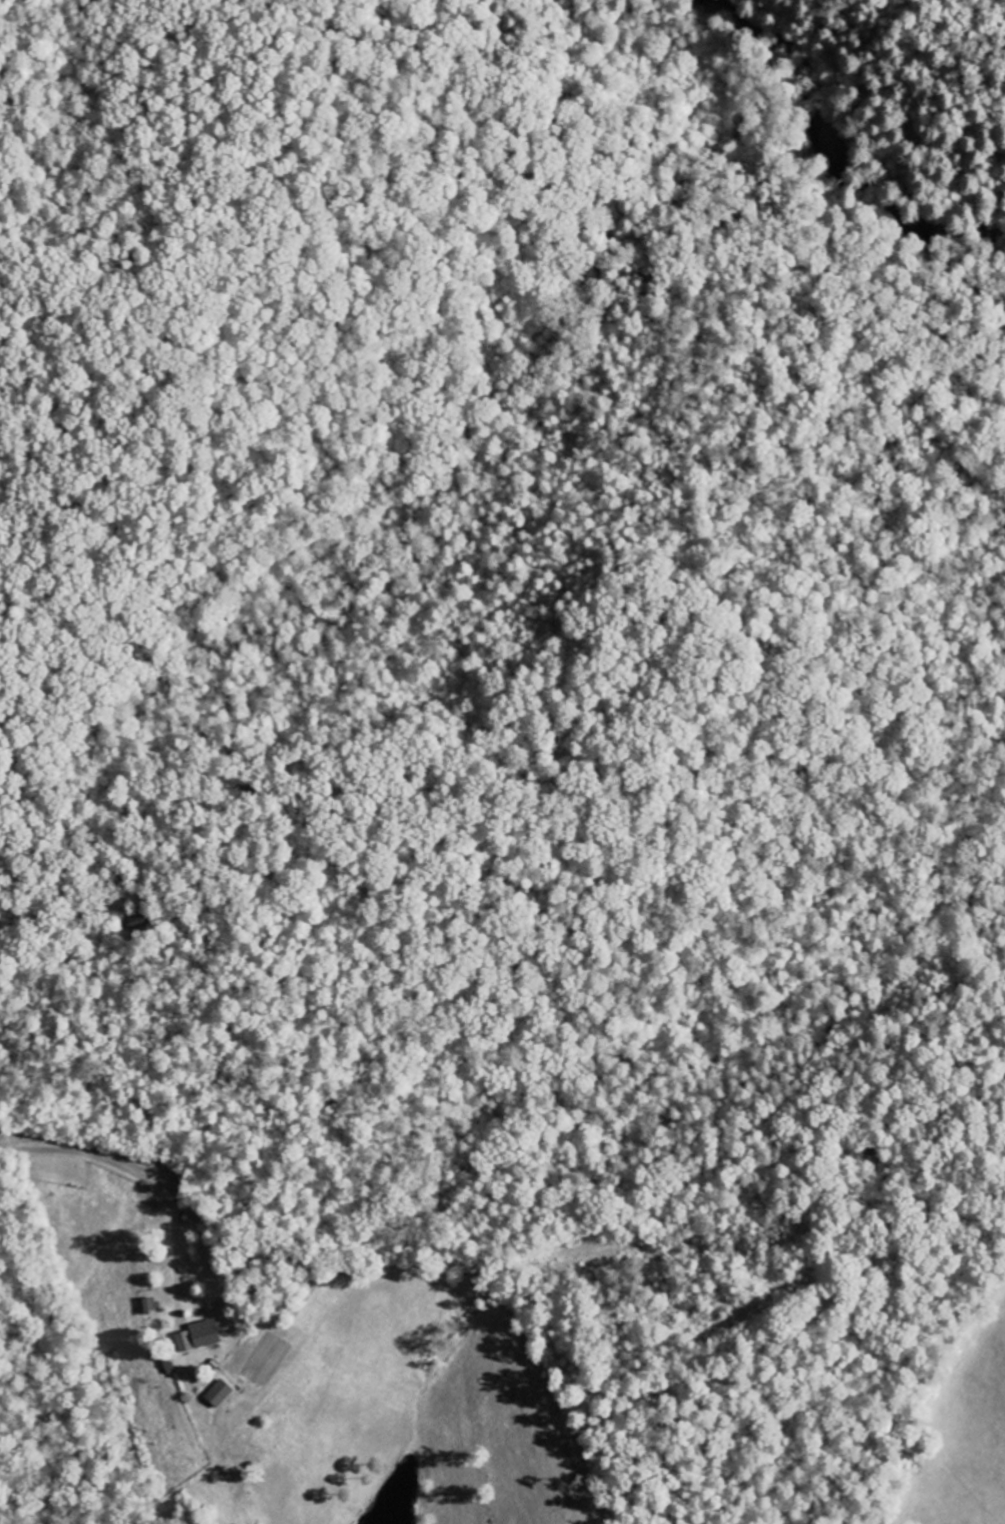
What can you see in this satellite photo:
park: (883, 103)
building: (138, 922)
road: (122, 1166)
building: (151, 1306)
building: (198, 1337)
building: (220, 1394)

